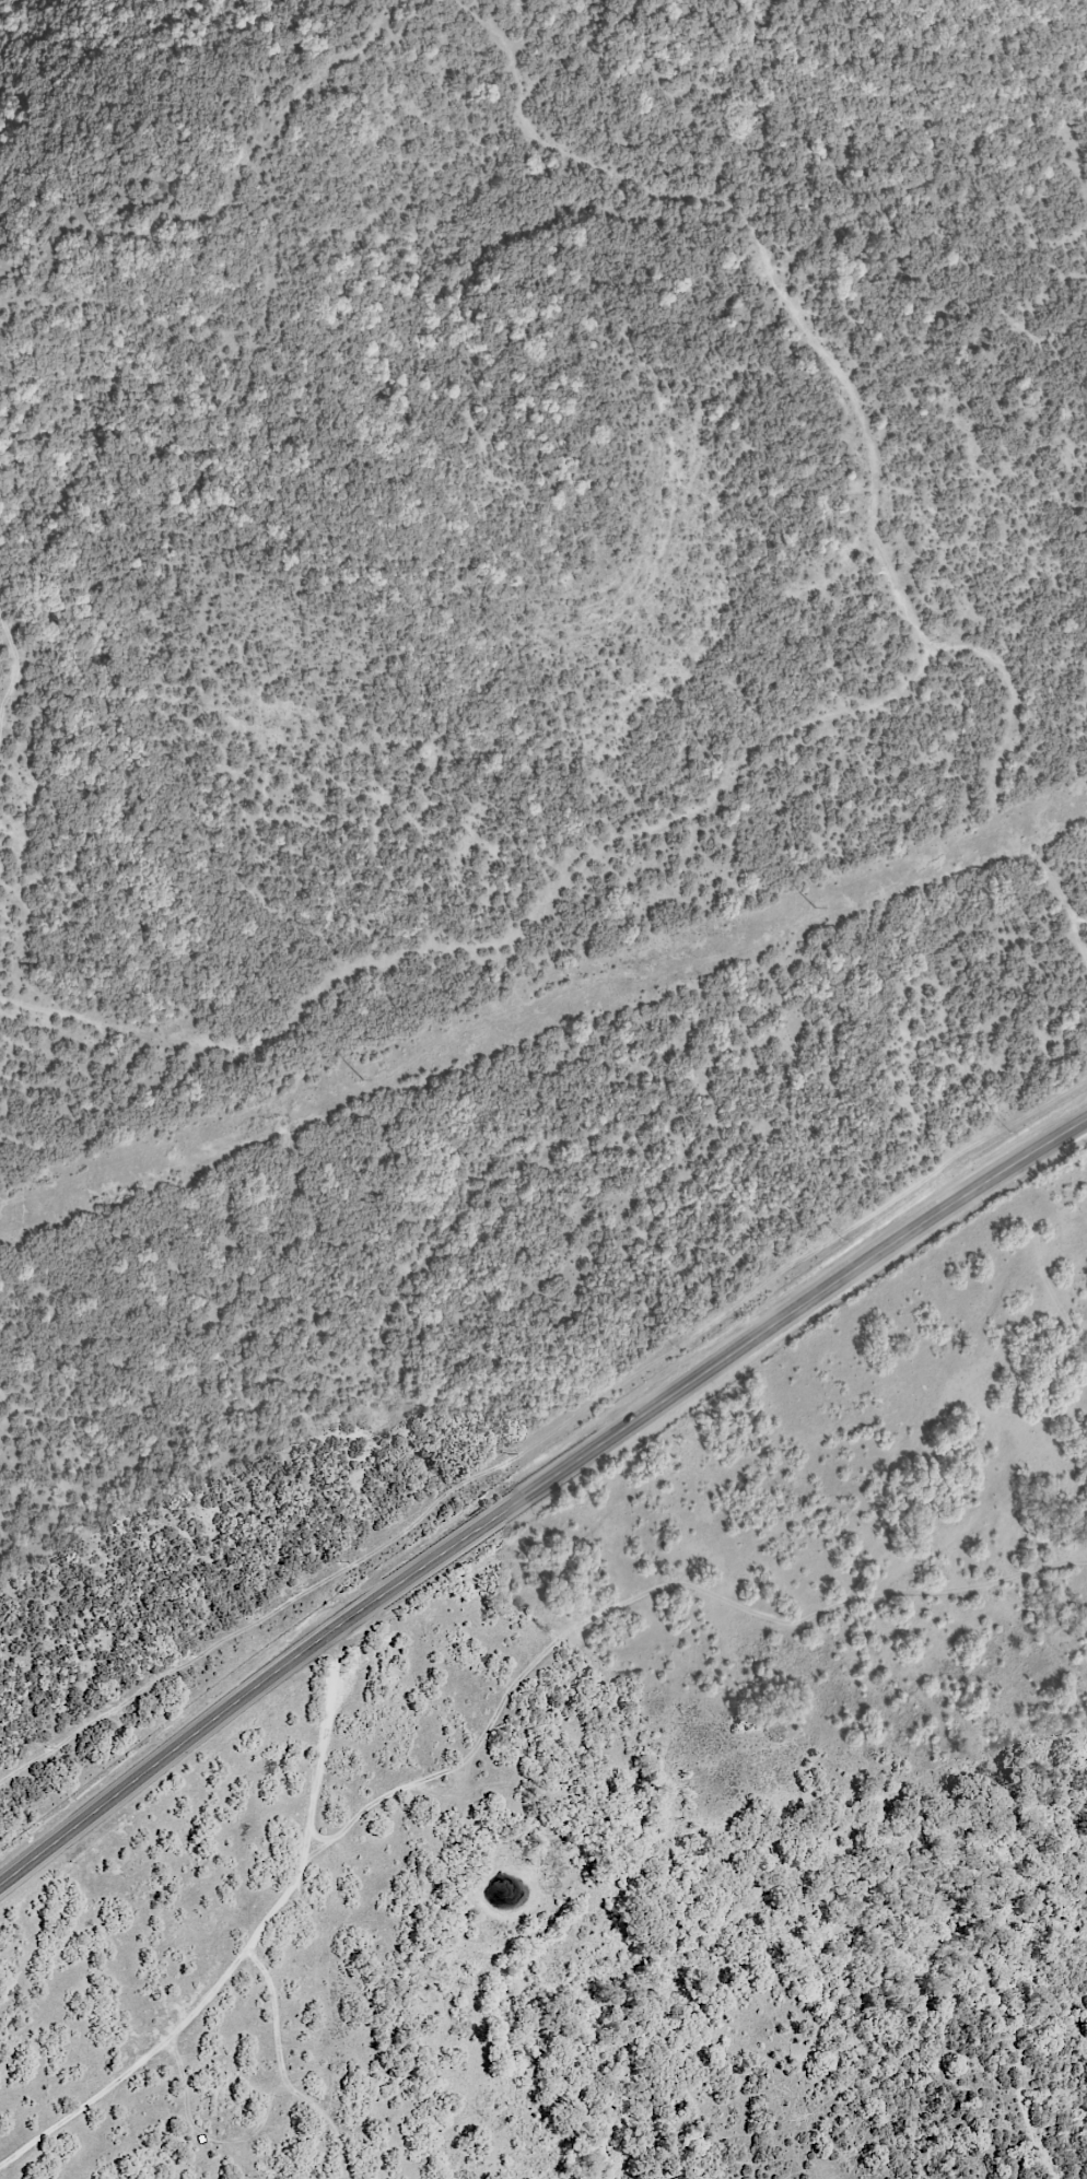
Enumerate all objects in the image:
power tower: (817, 910)
power tower: (362, 1081)
road: (728, 1356)
road: (189, 1741)
road: (249, 1943)
road: (265, 2114)
road: (326, 2117)

